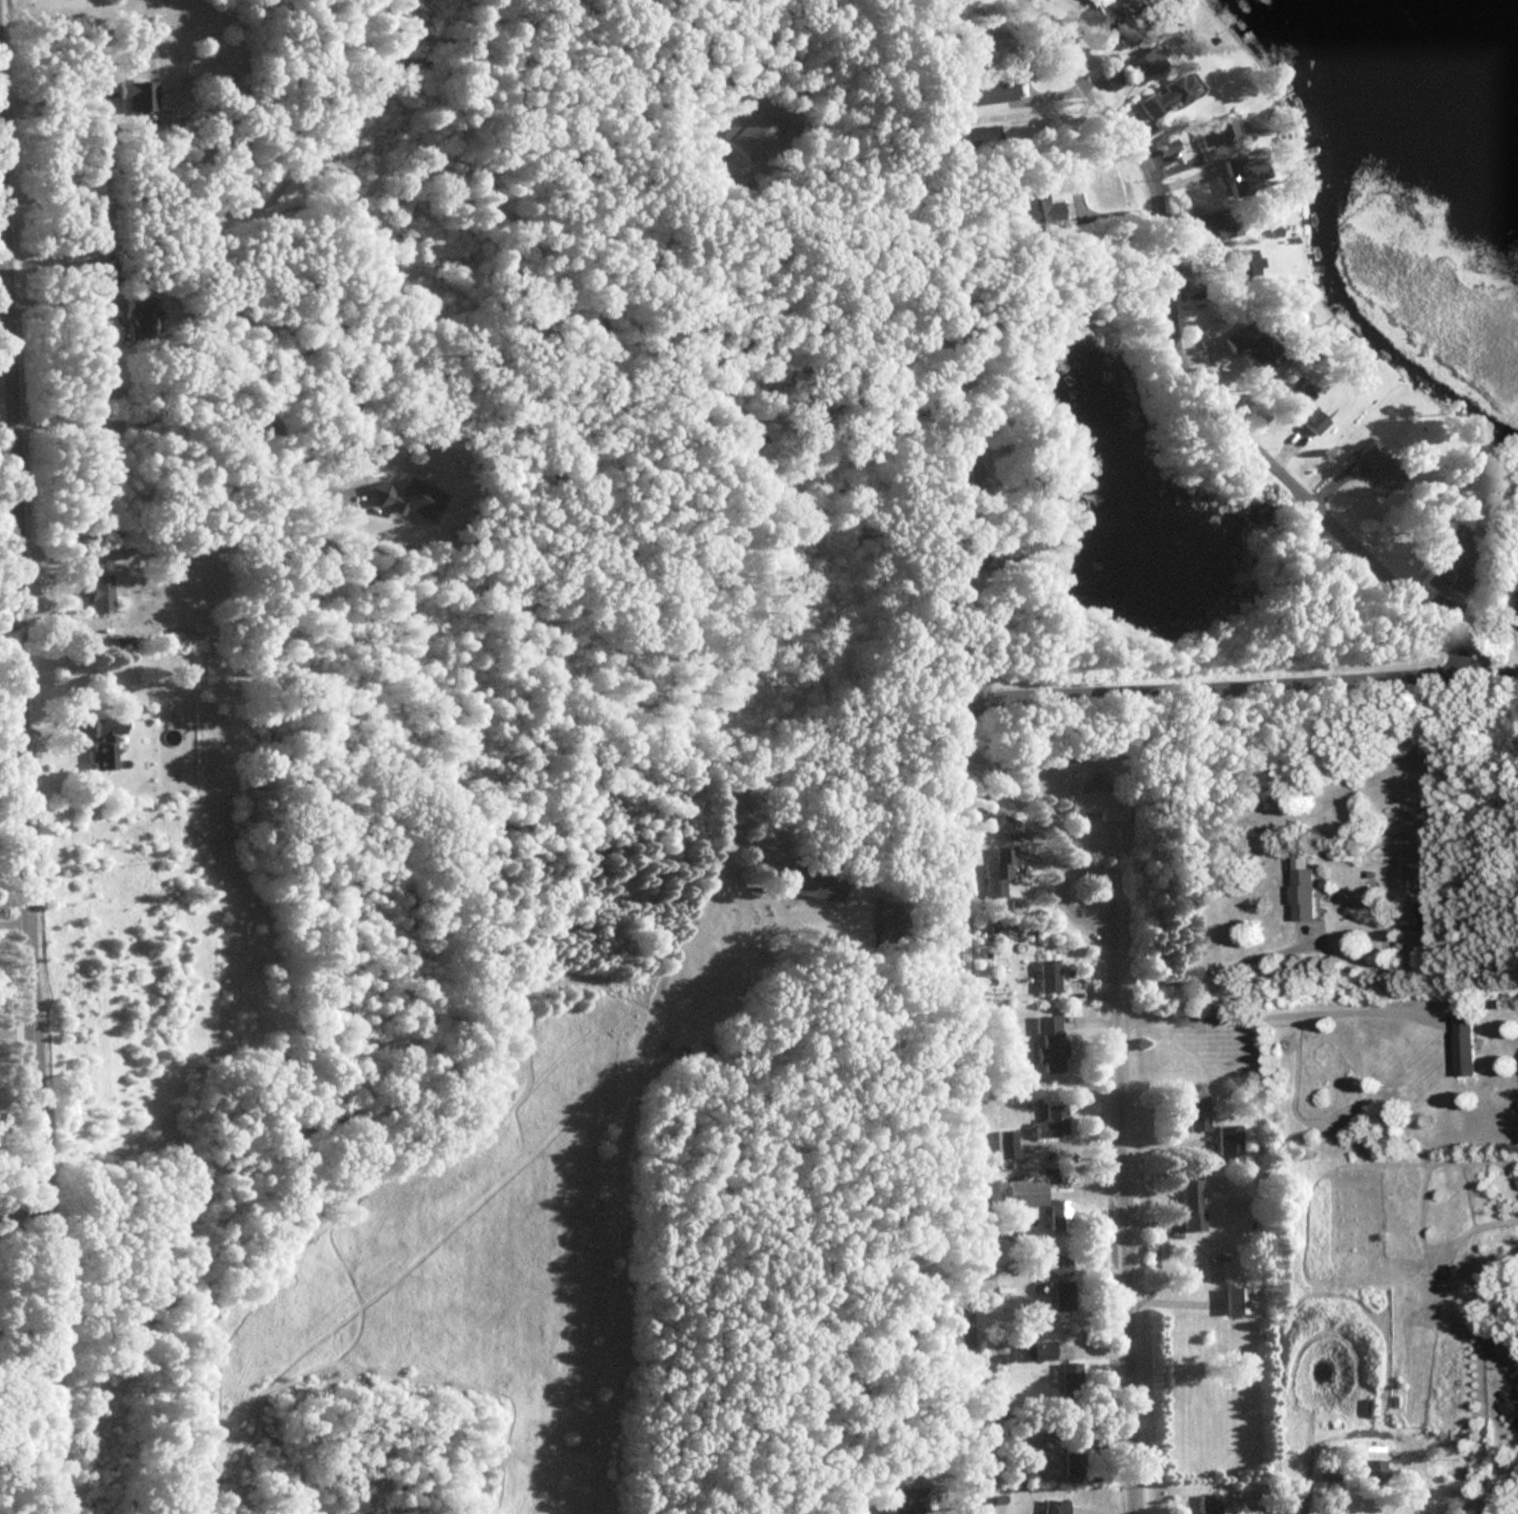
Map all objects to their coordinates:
building: (1112, 27)
building: (1140, 65)
building: (1106, 80)
building: (985, 91)
building: (133, 96)
building: (1160, 97)
road: (1052, 111)
building: (1208, 134)
building: (1032, 210)
building: (1214, 225)
road: (61, 297)
building: (138, 304)
building: (1249, 346)
road: (1193, 366)
building: (1297, 406)
building: (1374, 463)
building: (1450, 555)
building: (98, 594)
building: (1517, 615)
building: (102, 740)
building: (1096, 803)
road: (22, 804)
building: (1004, 826)
road: (950, 833)
building: (995, 871)
building: (810, 881)
building: (1300, 893)
building: (1411, 915)
road: (13, 920)
road: (1211, 972)
building: (1045, 976)
road: (1279, 1016)
road: (15, 1035)
building: (1047, 1043)
building: (1461, 1044)
building: (1196, 1113)
building: (1049, 1122)
building: (1227, 1140)
building: (1003, 1144)
road: (1127, 1178)
building: (1021, 1193)
building: (1190, 1205)
building: (1057, 1215)
building: (1060, 1295)
building: (1233, 1300)
building: (1034, 1350)
building: (1068, 1373)
building: (1510, 1409)
building: (1013, 1435)
building: (1072, 1461)
building: (1374, 1467)
road: (1508, 1487)
building: (1208, 1503)
building: (1050, 1506)

